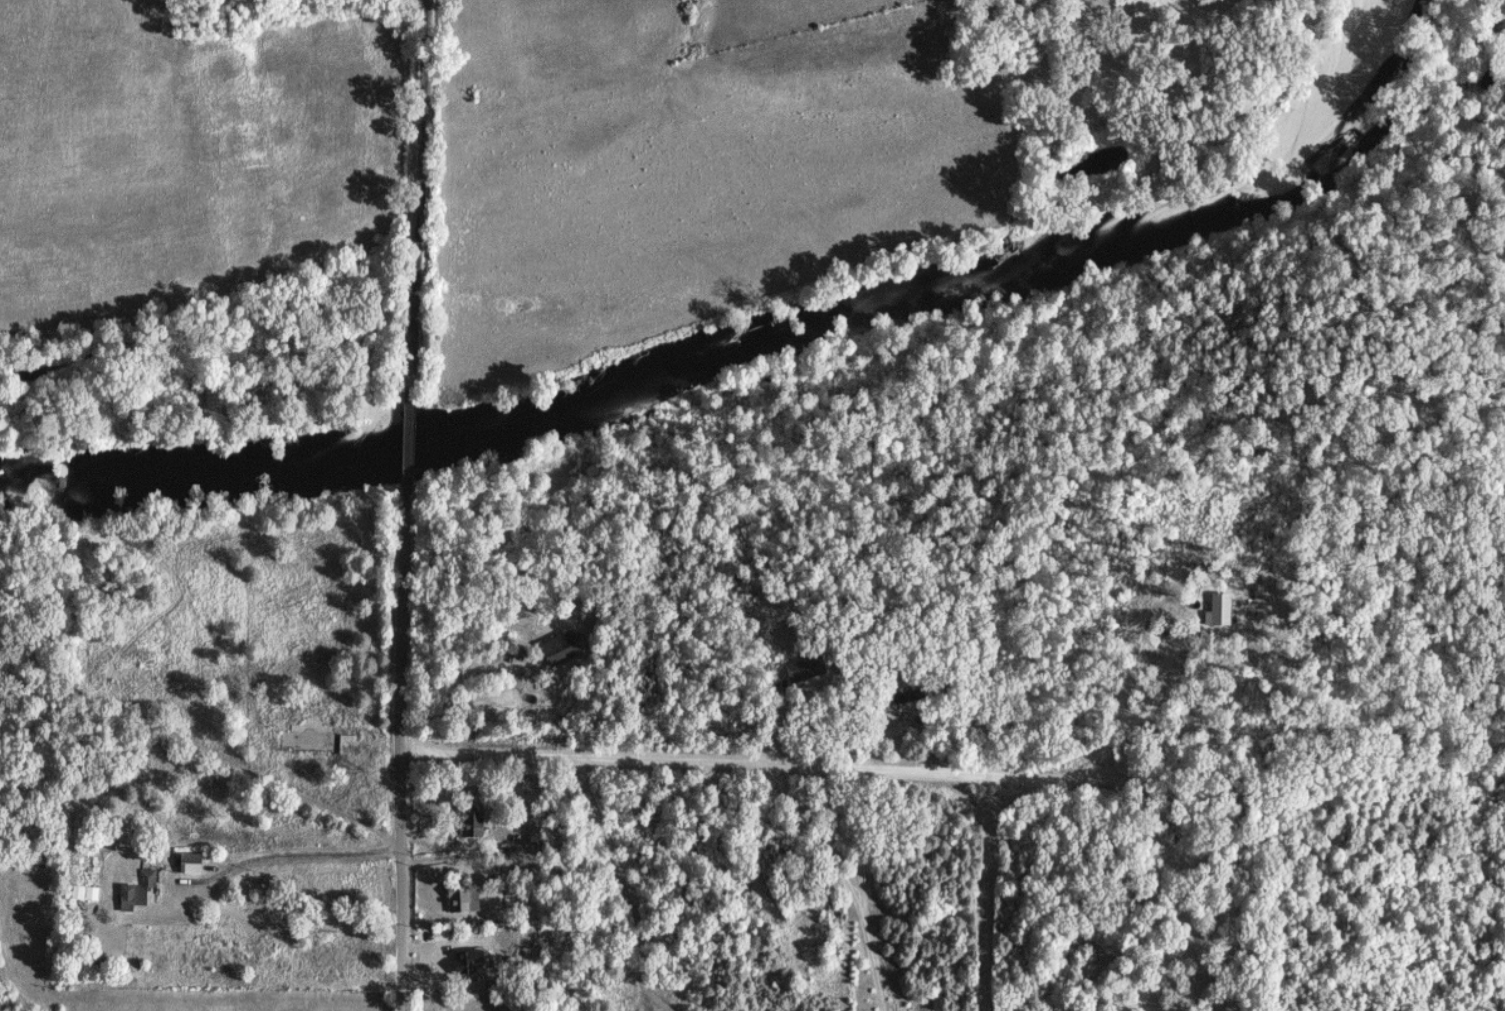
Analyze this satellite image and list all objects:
road: (417, 194)
river: (764, 341)
road: (409, 447)
building: (1217, 611)
building: (559, 650)
building: (801, 672)
road: (453, 685)
road: (215, 757)
road: (397, 758)
road: (842, 767)
building: (469, 825)
road: (1225, 847)
road: (301, 850)
building: (187, 864)
road: (623, 867)
building: (125, 899)
building: (461, 900)
road: (905, 915)
road: (986, 954)
building: (465, 964)
road: (874, 965)
road: (649, 989)
park: (476, 1003)

